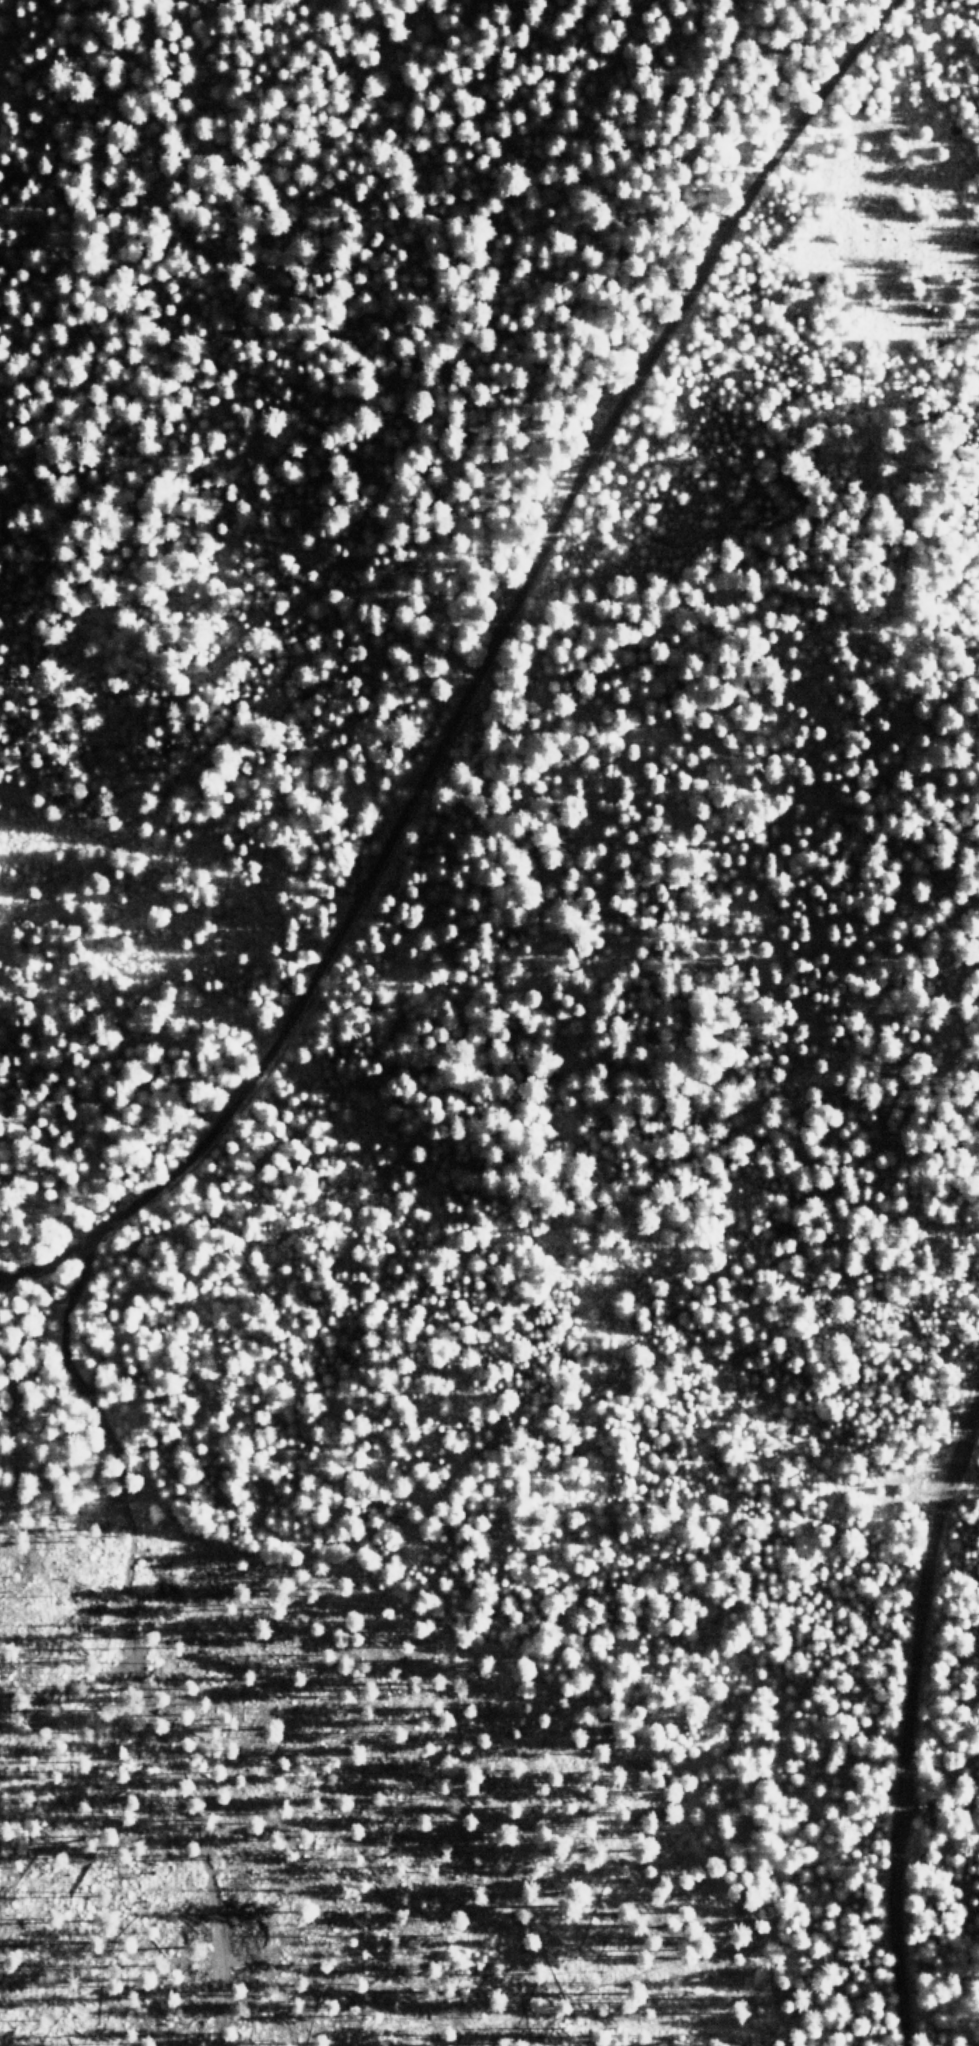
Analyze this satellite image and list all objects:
road: (493, 684)
road: (908, 1706)

